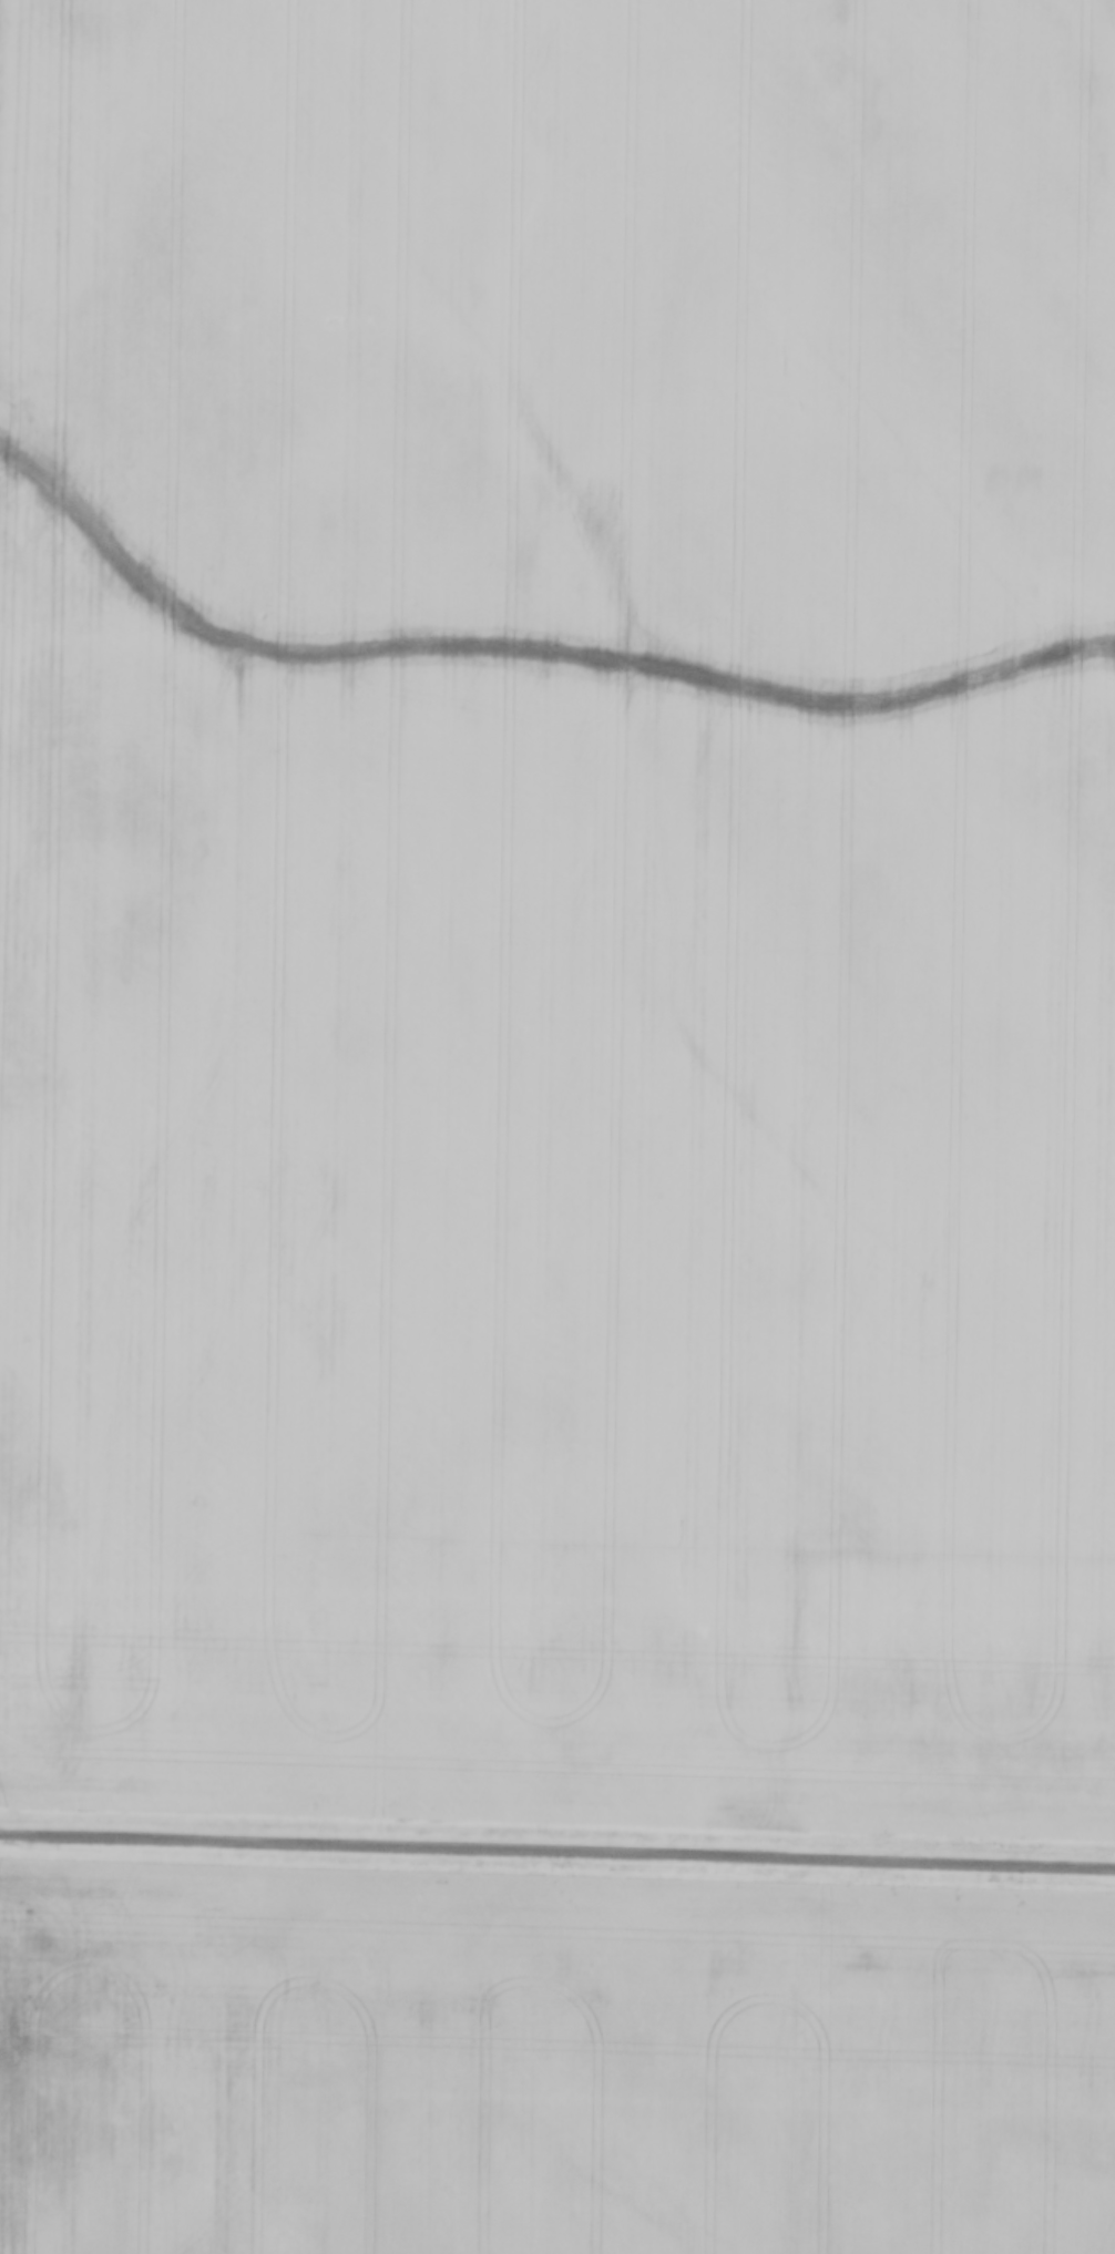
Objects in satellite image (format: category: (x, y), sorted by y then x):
road: (557, 1851)

